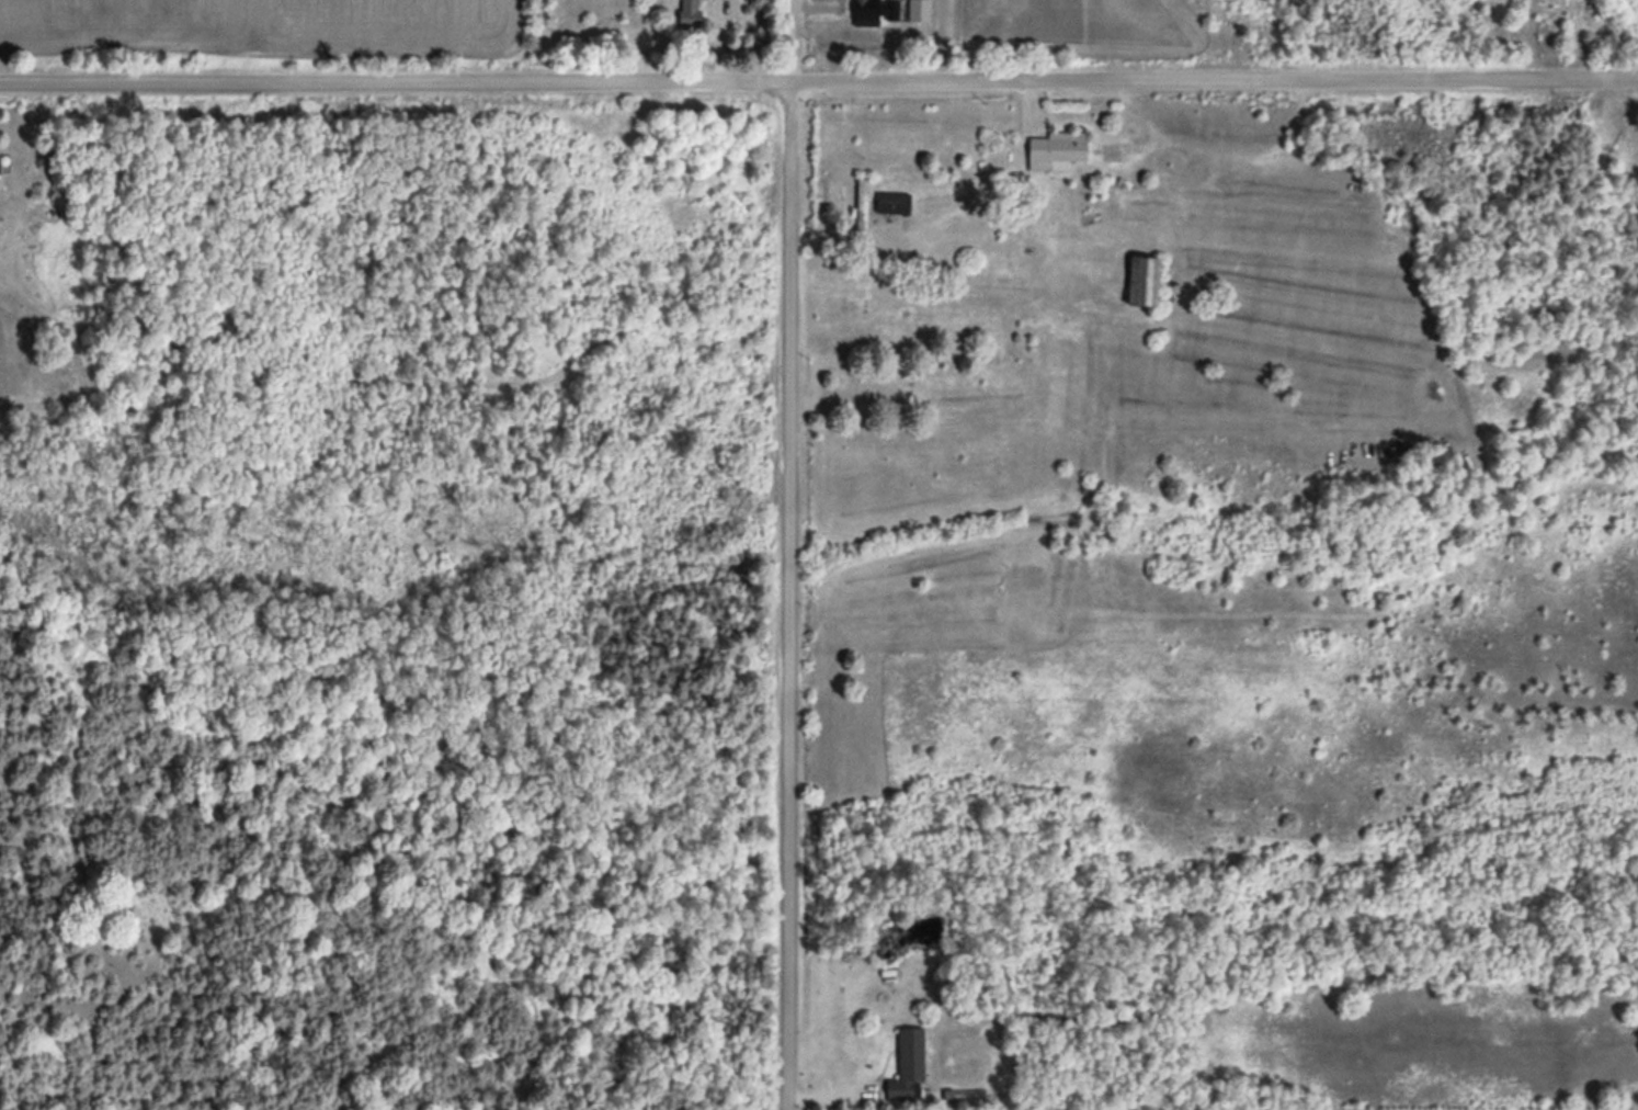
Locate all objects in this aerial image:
building: (872, 11)
building: (683, 12)
road: (788, 43)
road: (819, 84)
building: (1054, 145)
building: (2, 161)
building: (889, 201)
building: (858, 202)
building: (1088, 216)
building: (1136, 279)
road: (788, 598)
building: (905, 1062)

